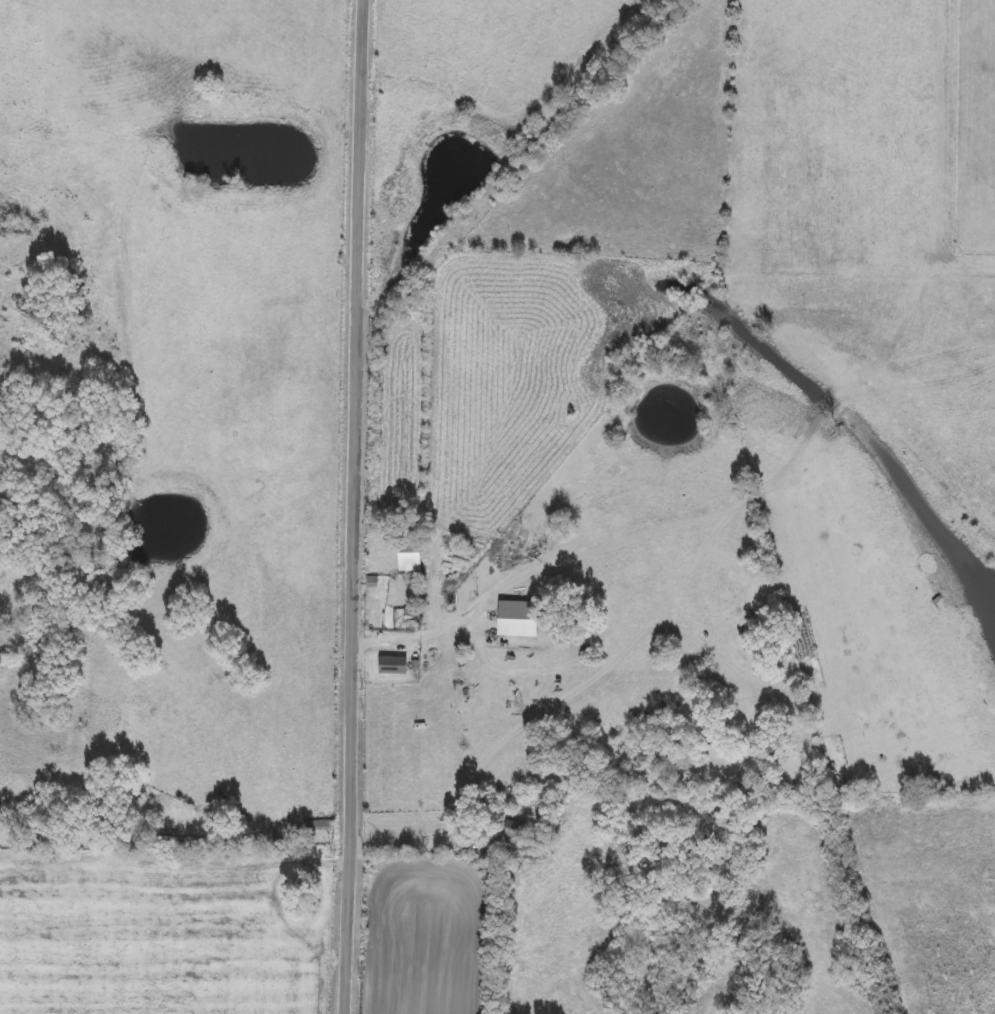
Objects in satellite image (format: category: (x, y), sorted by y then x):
road: (353, 507)
building: (409, 558)
building: (517, 619)
building: (392, 667)
building: (317, 825)
building: (515, 829)
road: (411, 835)

